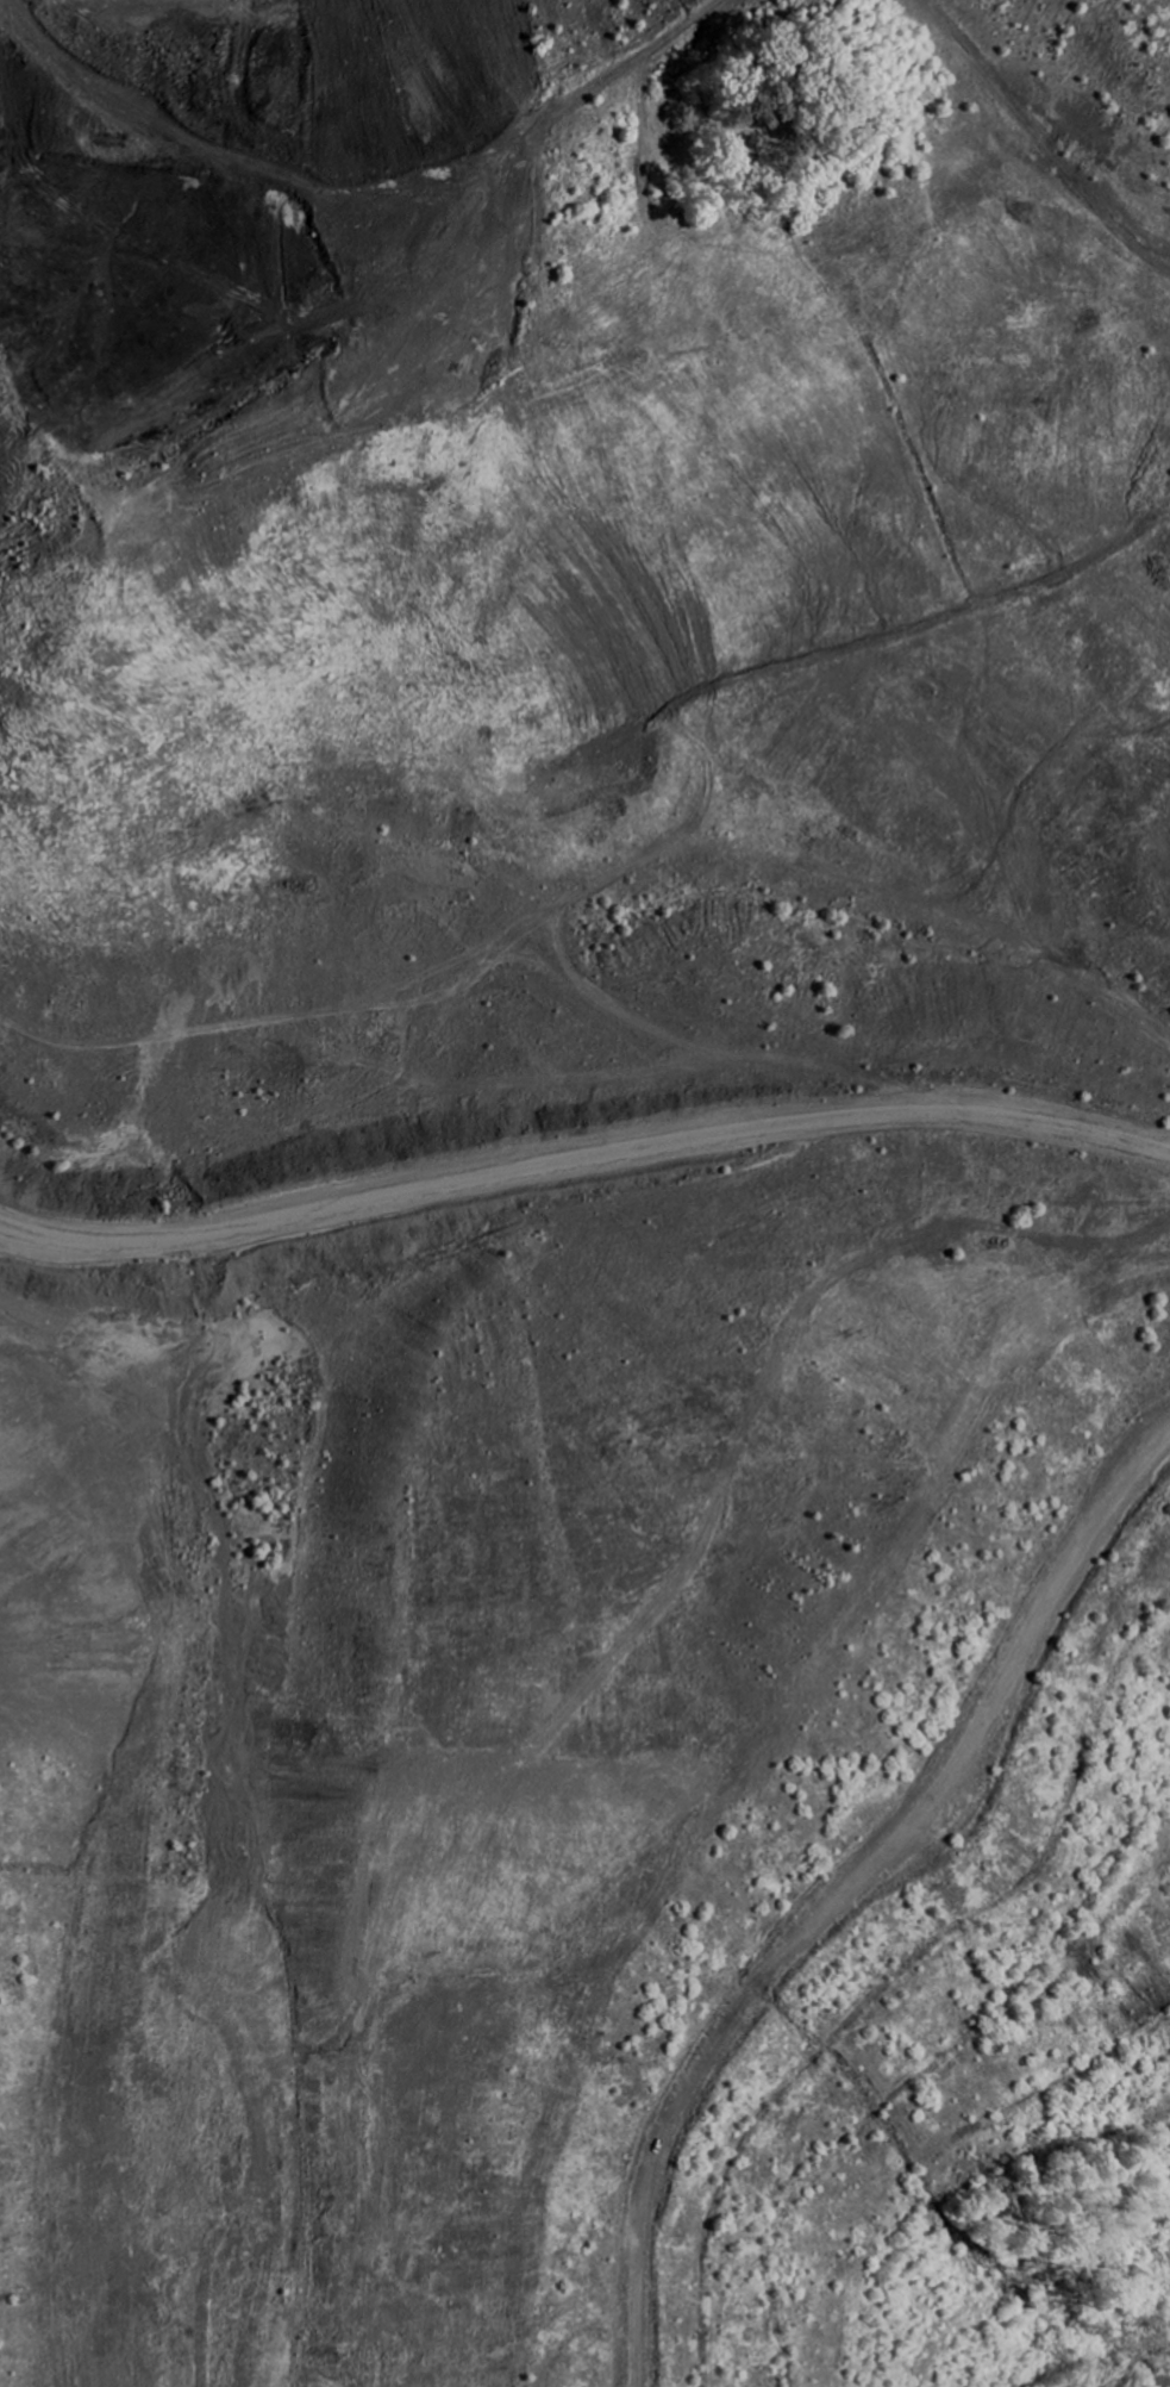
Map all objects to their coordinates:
quarry: (584, 1193)

